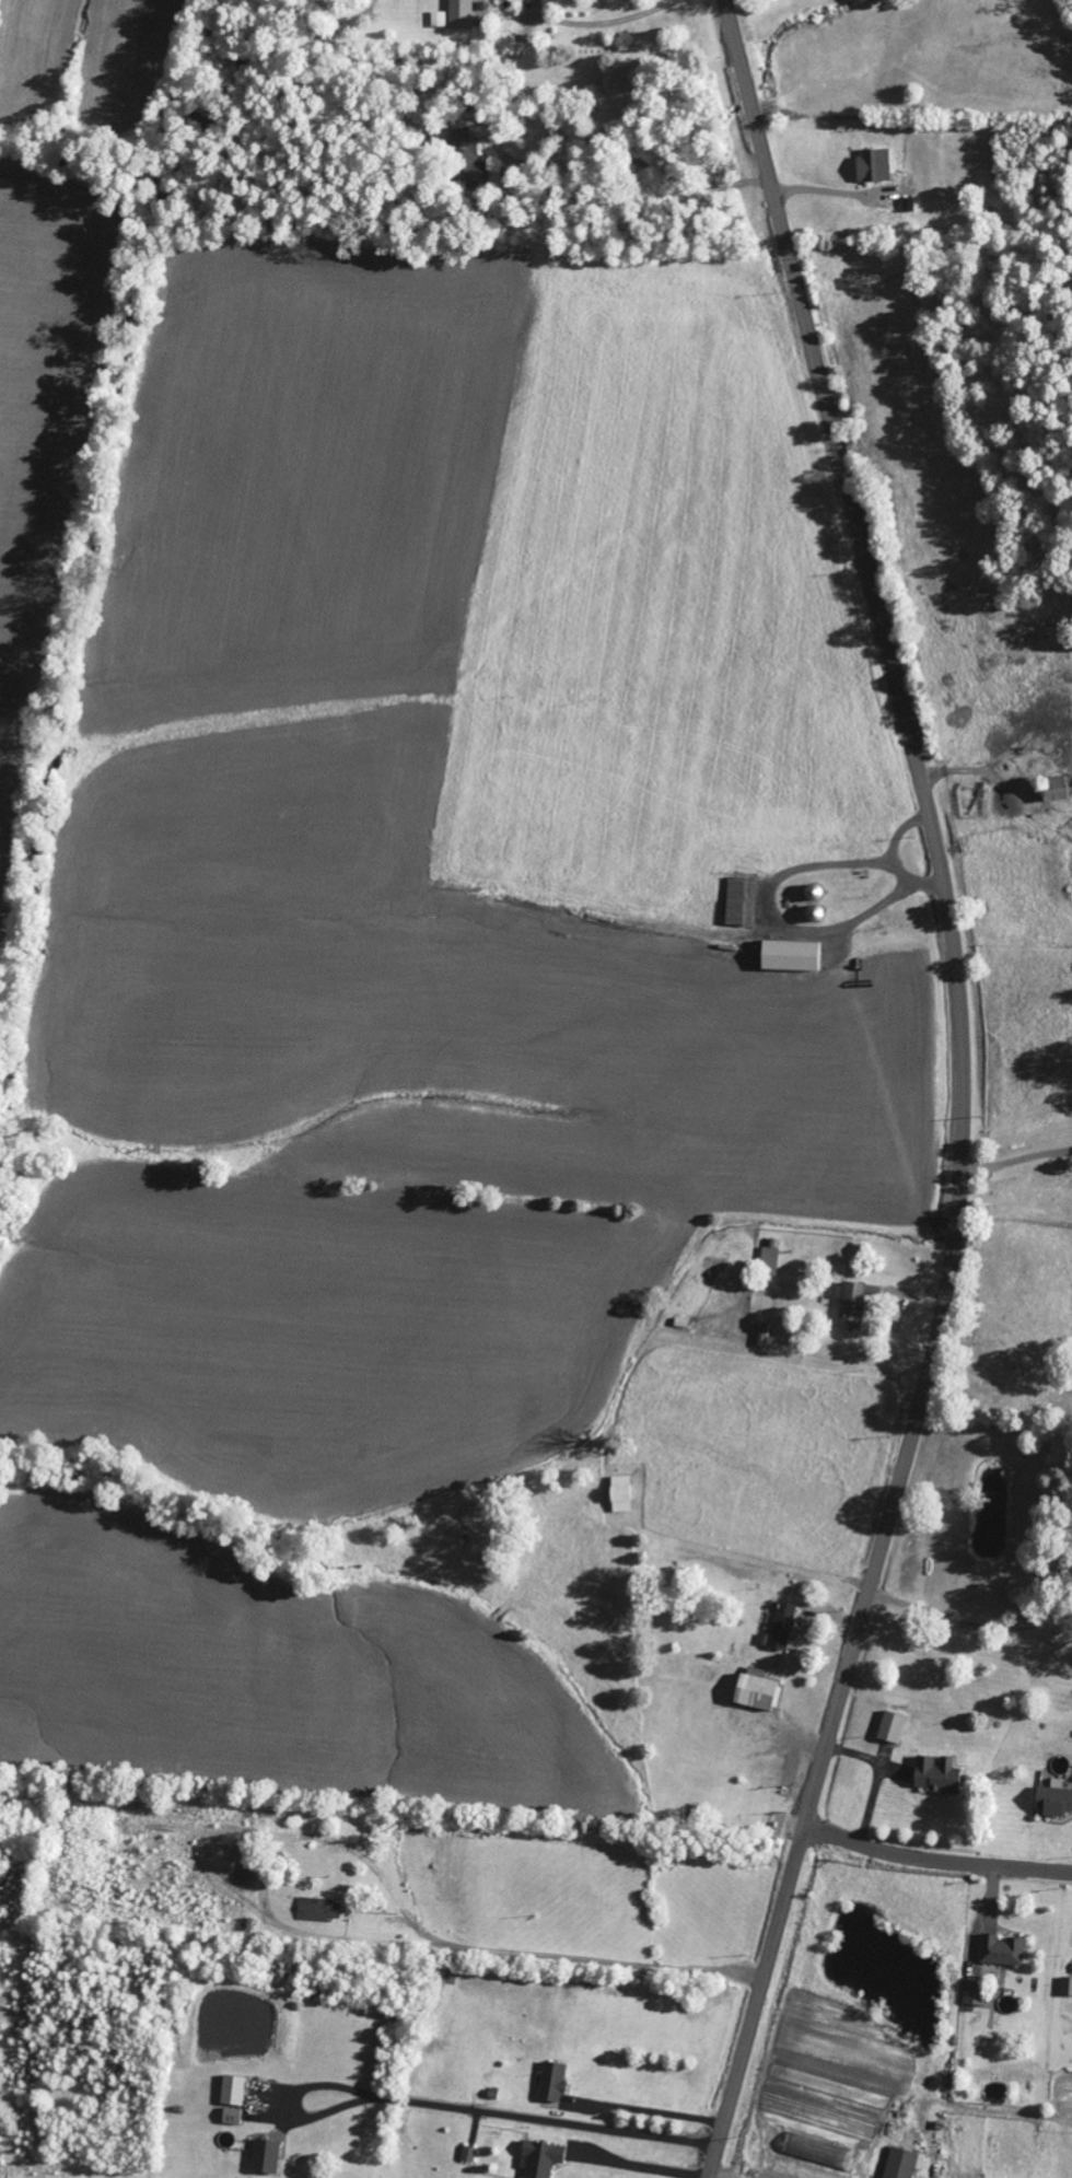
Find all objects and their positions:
building: (463, 15)
building: (470, 159)
building: (876, 166)
building: (1056, 790)
building: (743, 901)
building: (792, 956)
road: (964, 1091)
building: (770, 1261)
building: (854, 1304)
building: (783, 1628)
building: (759, 1693)
building: (894, 1728)
building: (939, 1775)
building: (1056, 1801)
road: (935, 1865)
road: (376, 1874)
building: (322, 1910)
building: (1004, 1952)
road: (603, 1964)
building: (1067, 1988)
building: (977, 1994)
building: (556, 2082)
building: (235, 2089)
building: (234, 2116)
building: (820, 2151)
building: (470, 2154)
building: (268, 2156)
building: (544, 2158)
building: (902, 2164)

